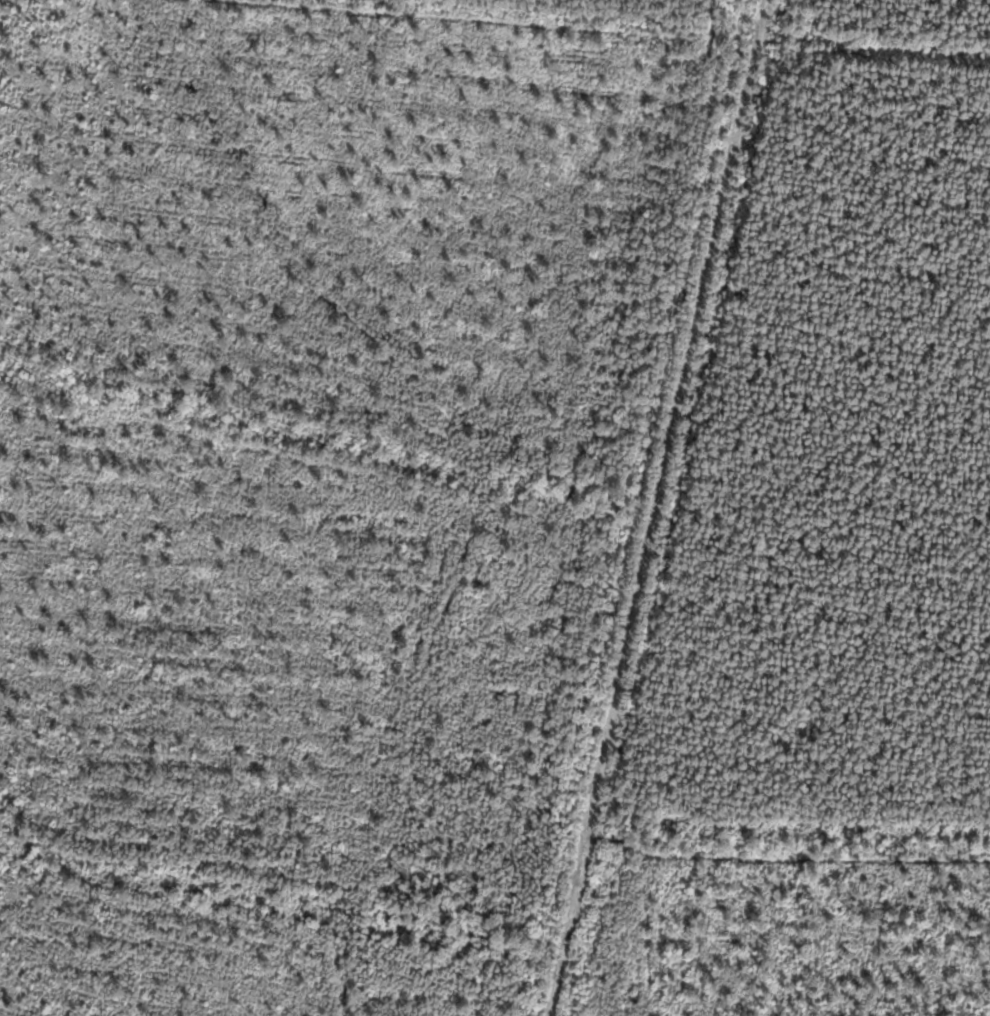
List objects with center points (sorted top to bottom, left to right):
road: (653, 508)

